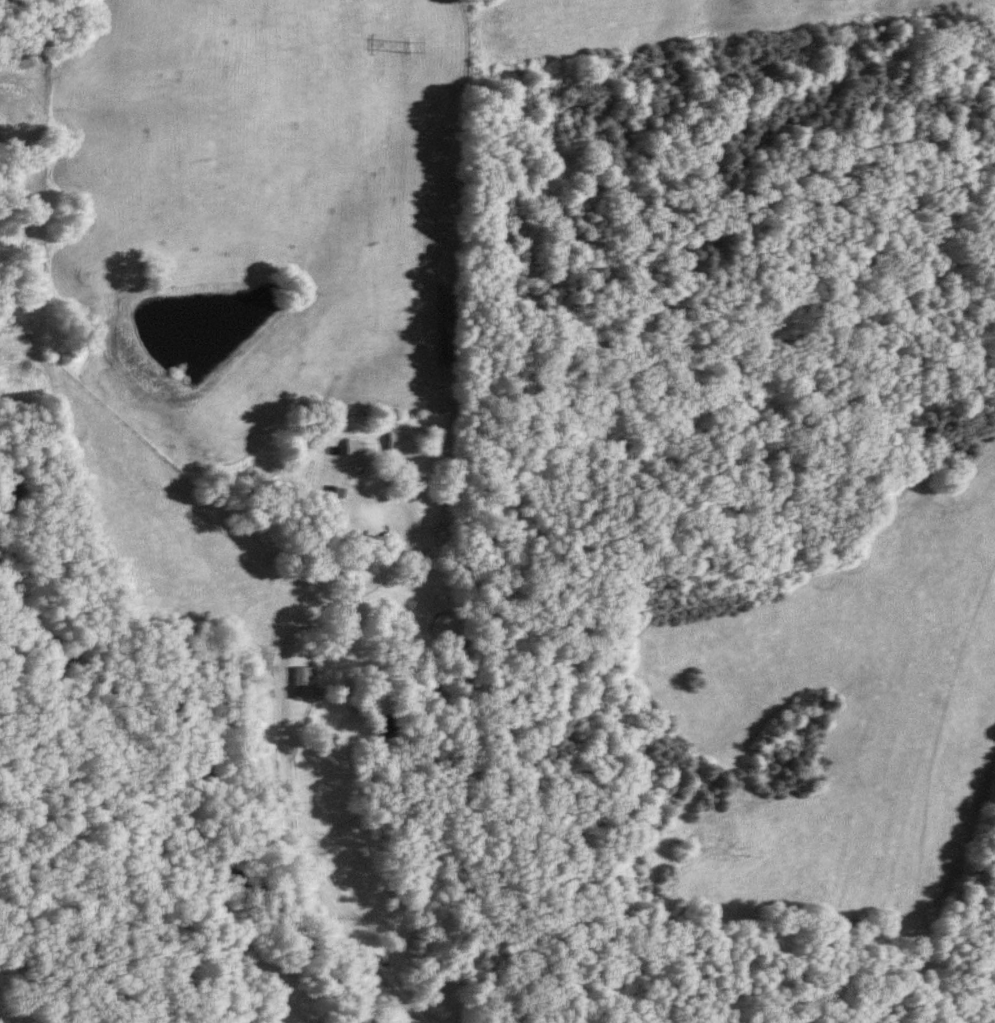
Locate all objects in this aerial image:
power tower: (399, 45)
building: (395, 441)
building: (350, 448)
building: (297, 683)
road: (283, 707)

